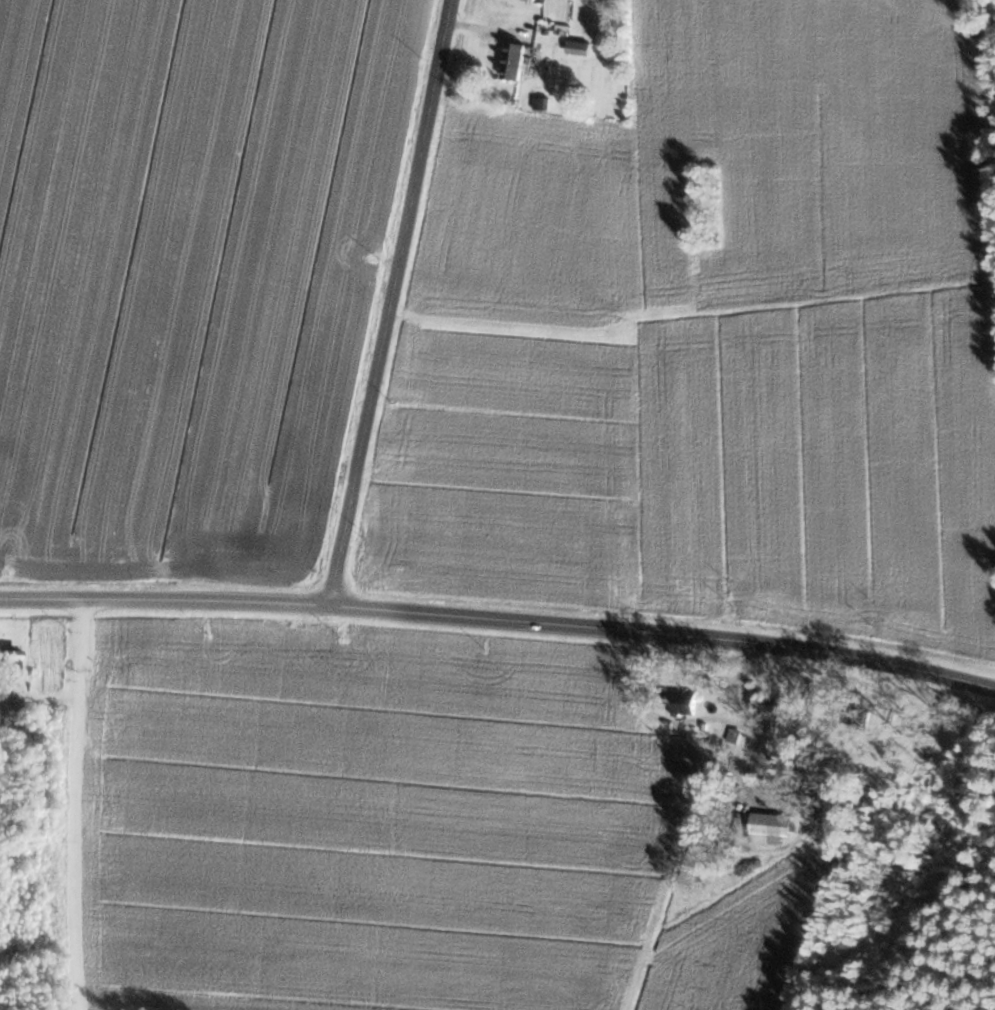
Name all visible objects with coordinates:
building: (515, 60)
road: (384, 302)
road: (500, 617)
building: (10, 660)
building: (685, 703)
building: (5, 719)
building: (772, 827)

